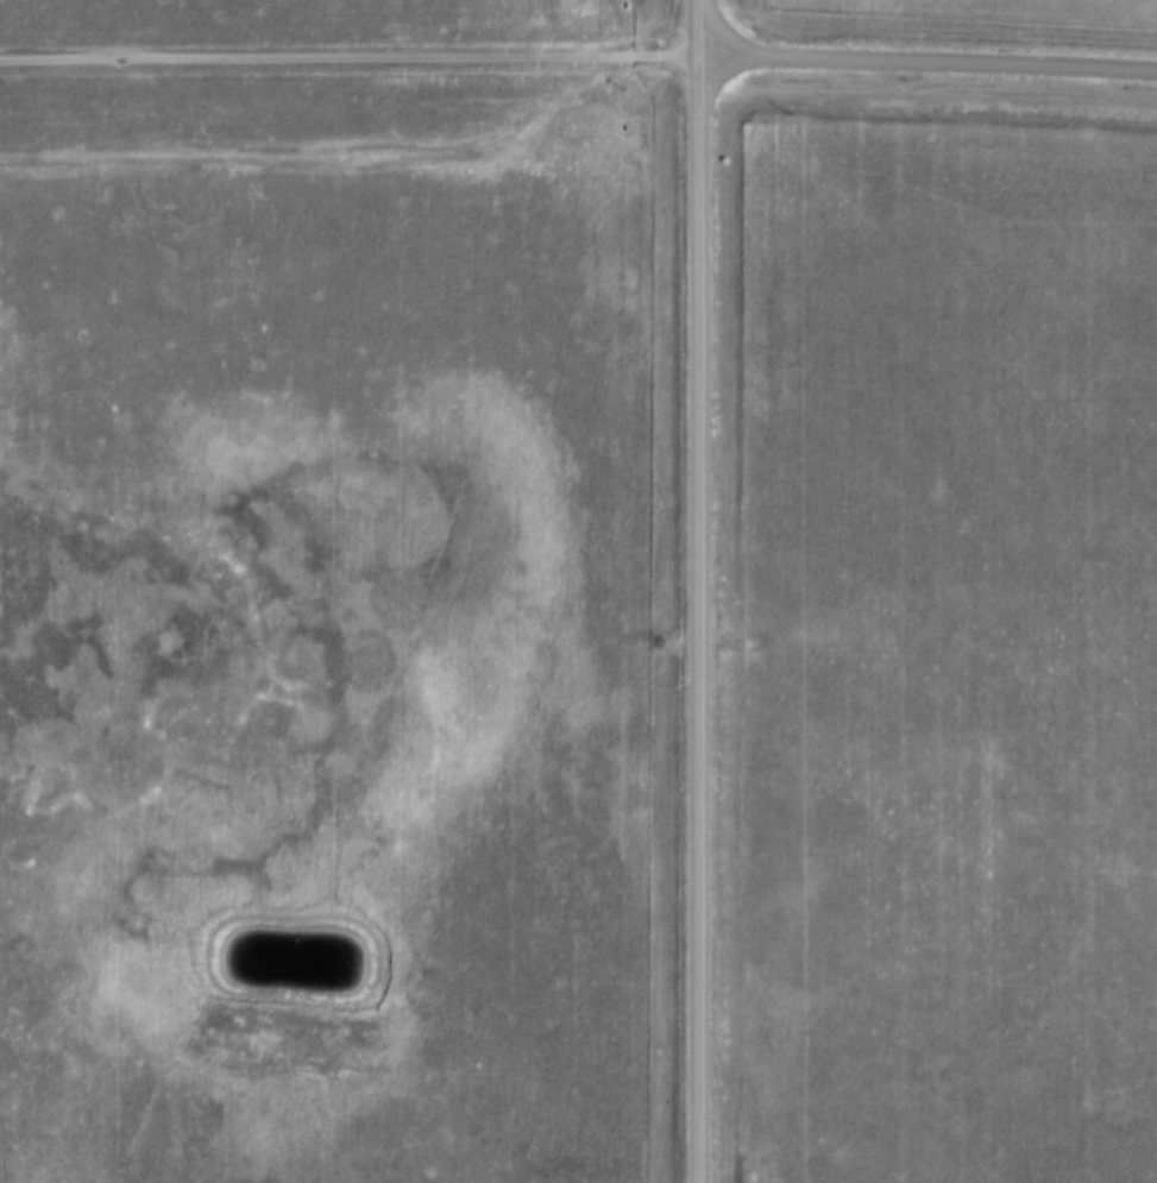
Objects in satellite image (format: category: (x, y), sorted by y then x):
road: (351, 58)
road: (930, 63)
road: (699, 591)

